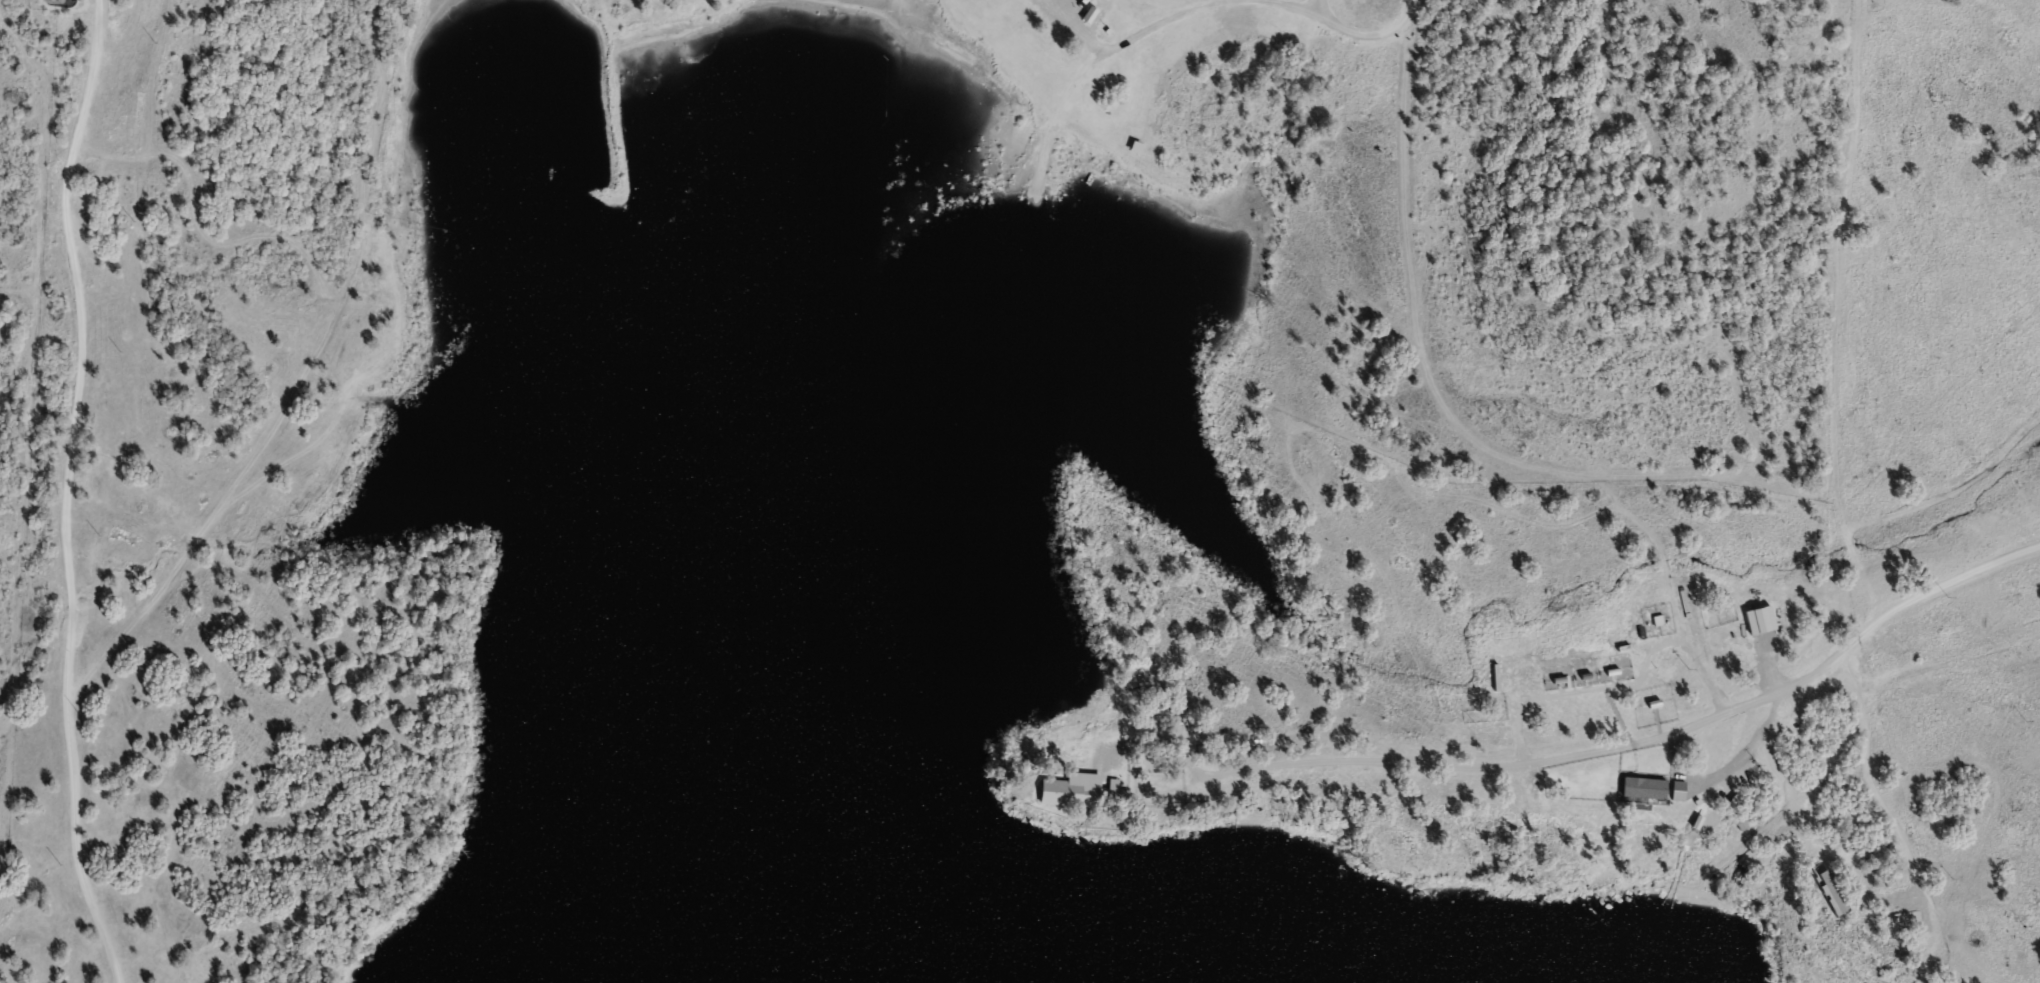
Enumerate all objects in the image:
road: (1368, 34)
road: (299, 379)
road: (26, 408)
road: (1462, 431)
road: (66, 492)
road: (1763, 749)
road: (1587, 754)
road: (1866, 777)
road: (1147, 785)
building: (1083, 791)
building: (1741, 825)
building: (1833, 891)
building: (1905, 906)
building: (1928, 933)

